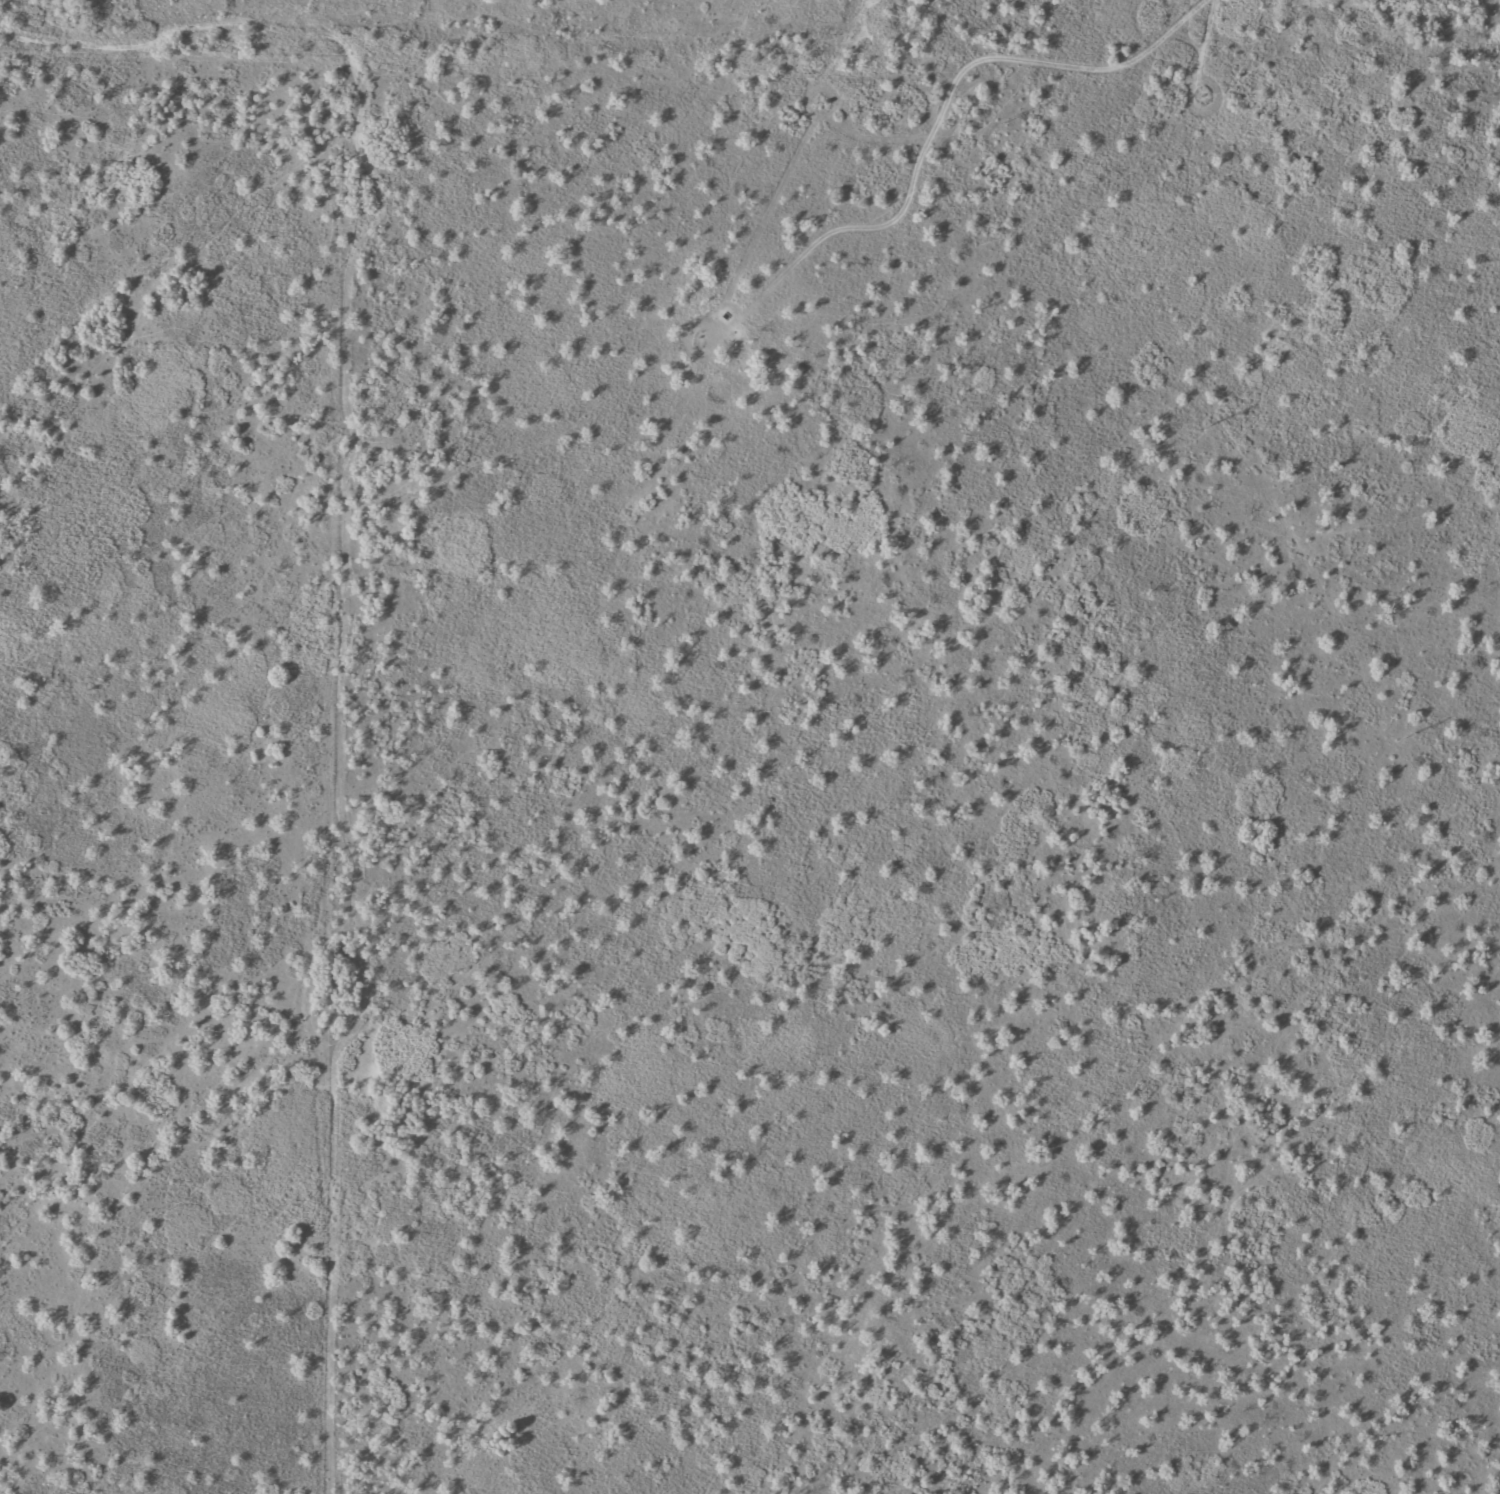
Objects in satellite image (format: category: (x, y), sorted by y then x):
power tower: (1012, 120)
power tower: (1210, 428)
power tower: (1409, 737)

